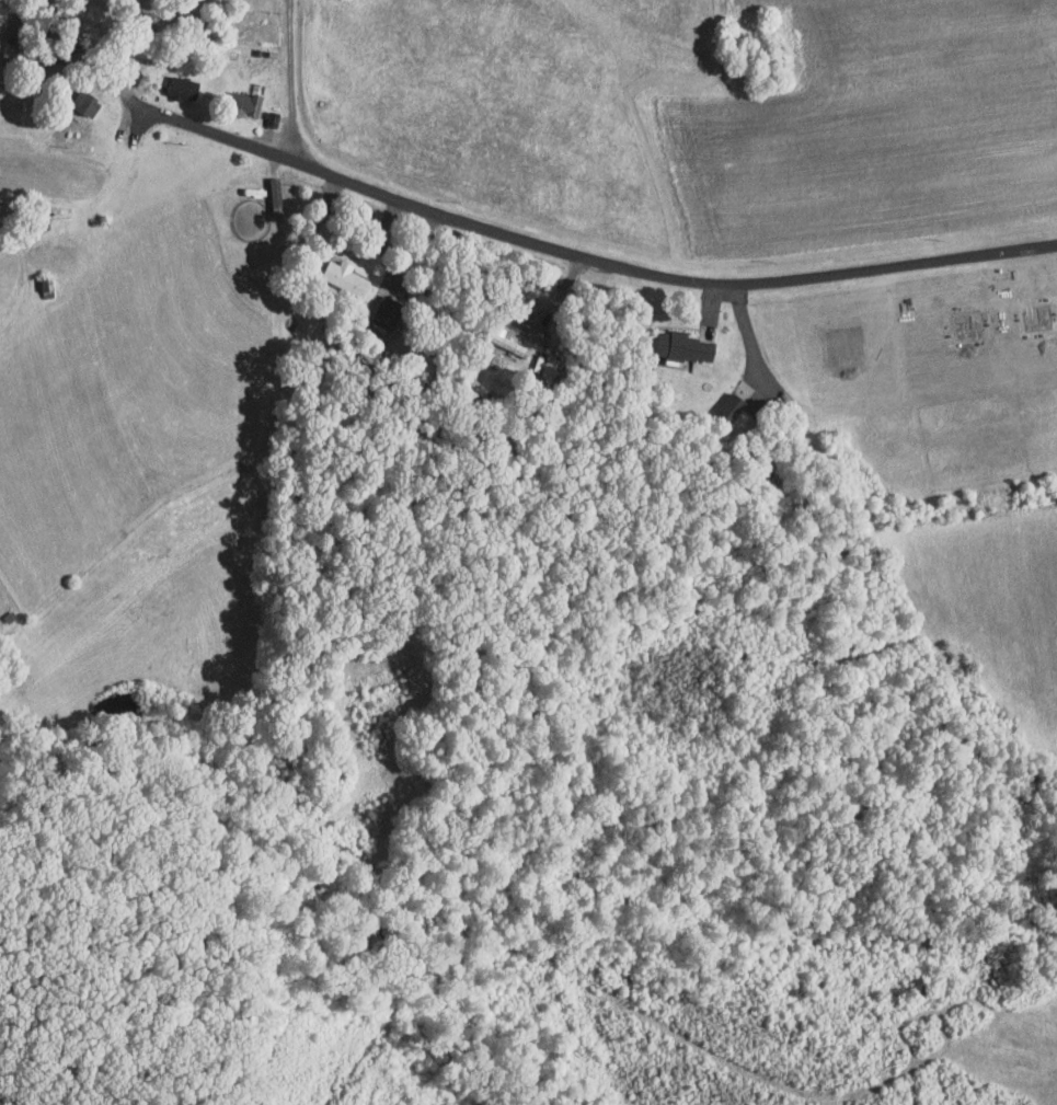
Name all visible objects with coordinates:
road: (291, 79)
building: (76, 95)
building: (232, 96)
road: (141, 105)
building: (334, 269)
road: (666, 276)
road: (713, 296)
building: (380, 307)
road: (748, 332)
building: (676, 339)
building: (723, 401)

